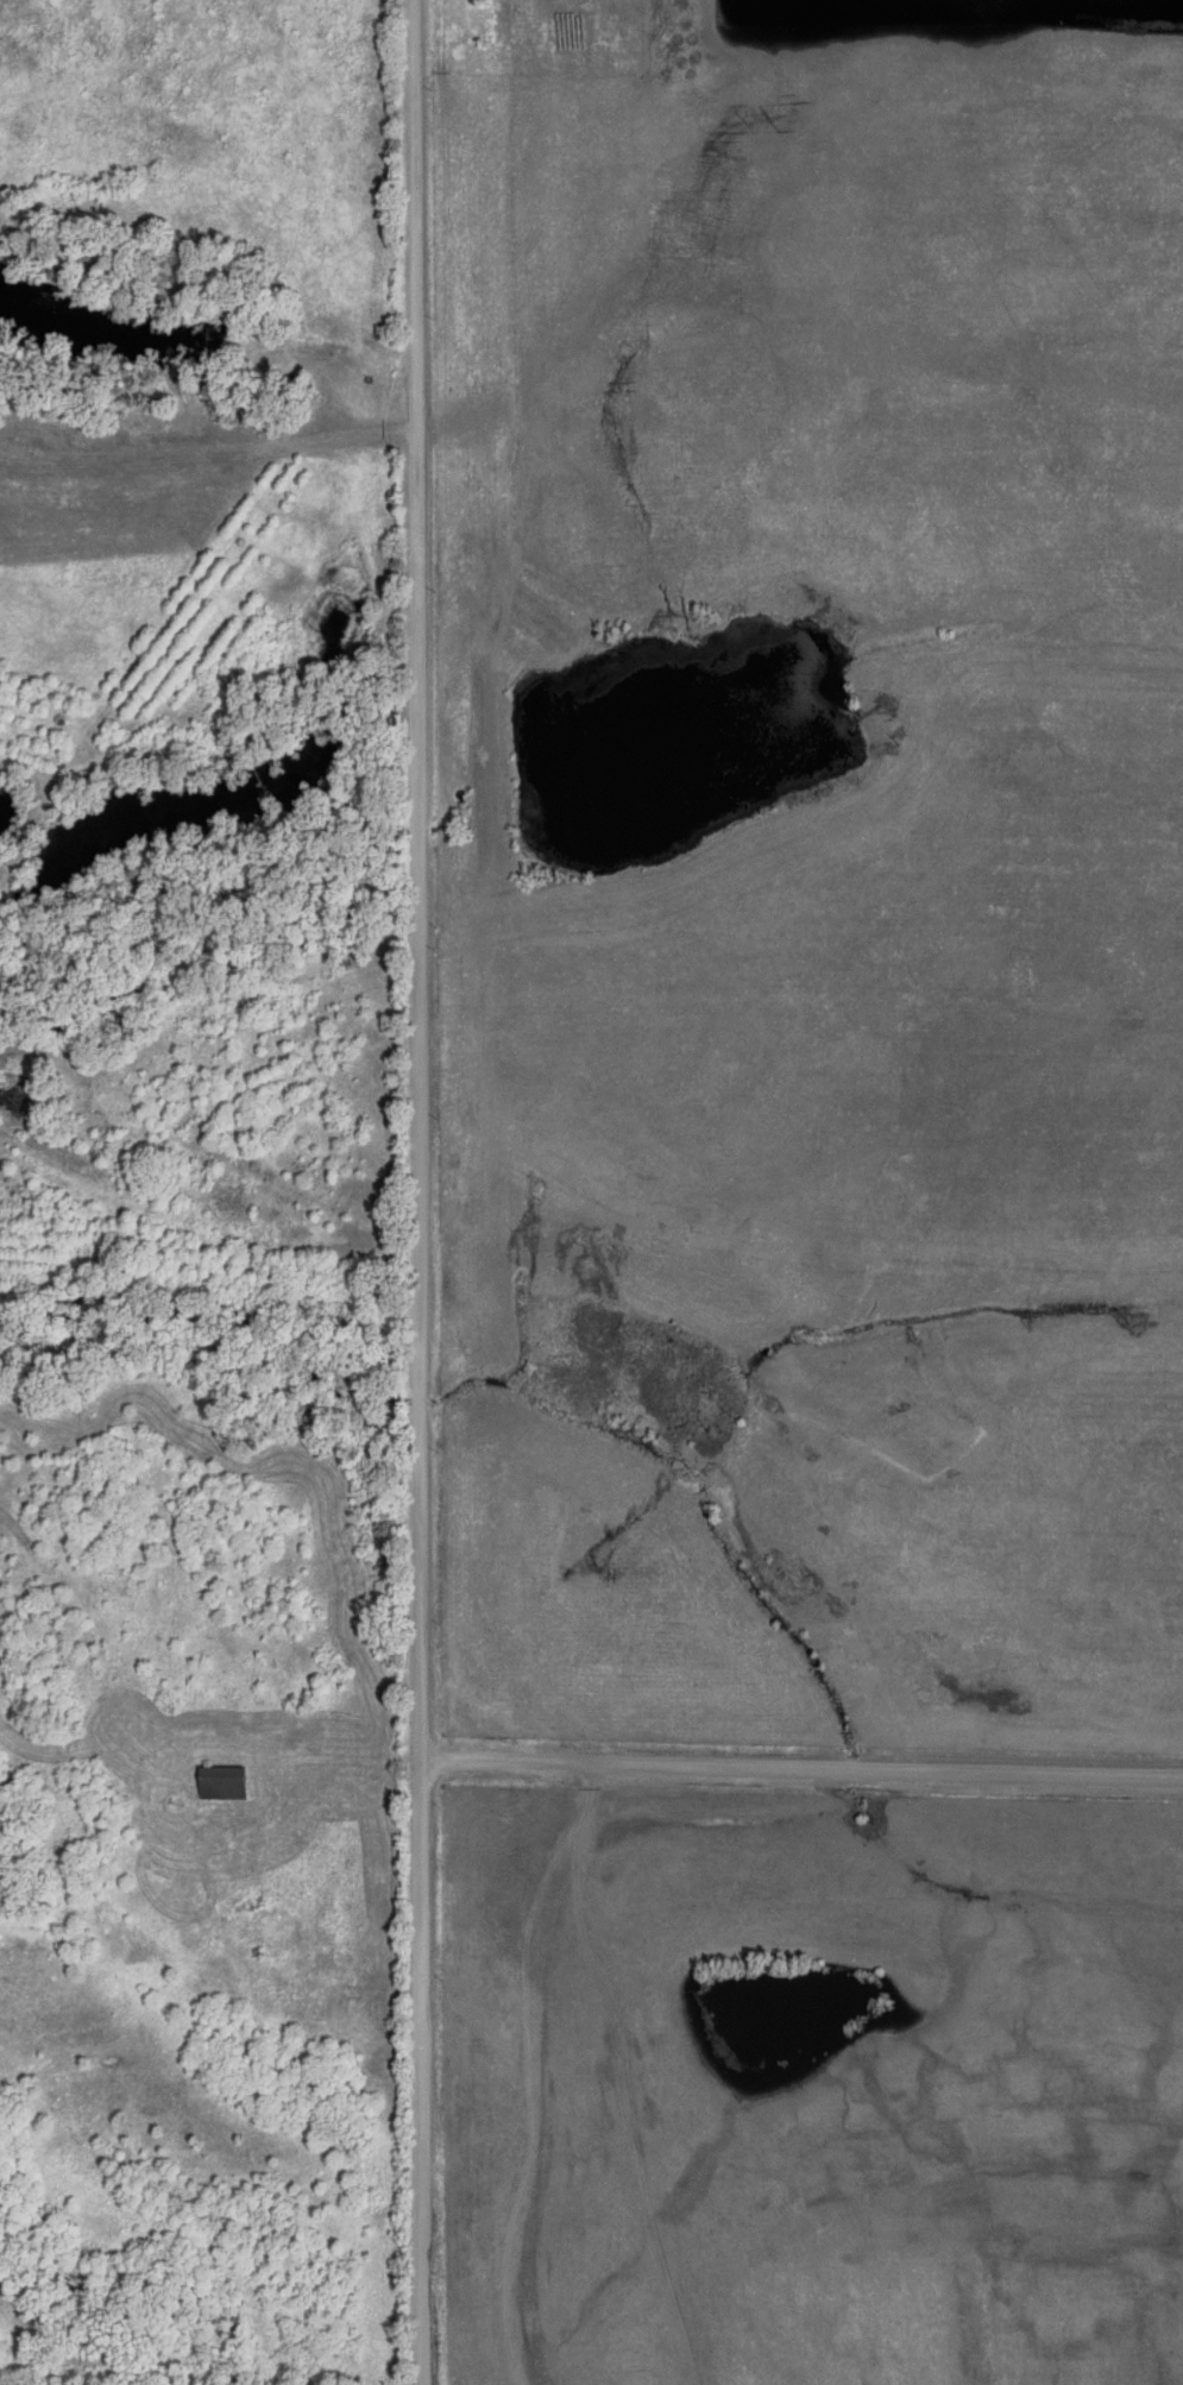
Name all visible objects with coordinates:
road: (419, 879)
road: (310, 1755)
road: (803, 1770)
road: (422, 2071)

